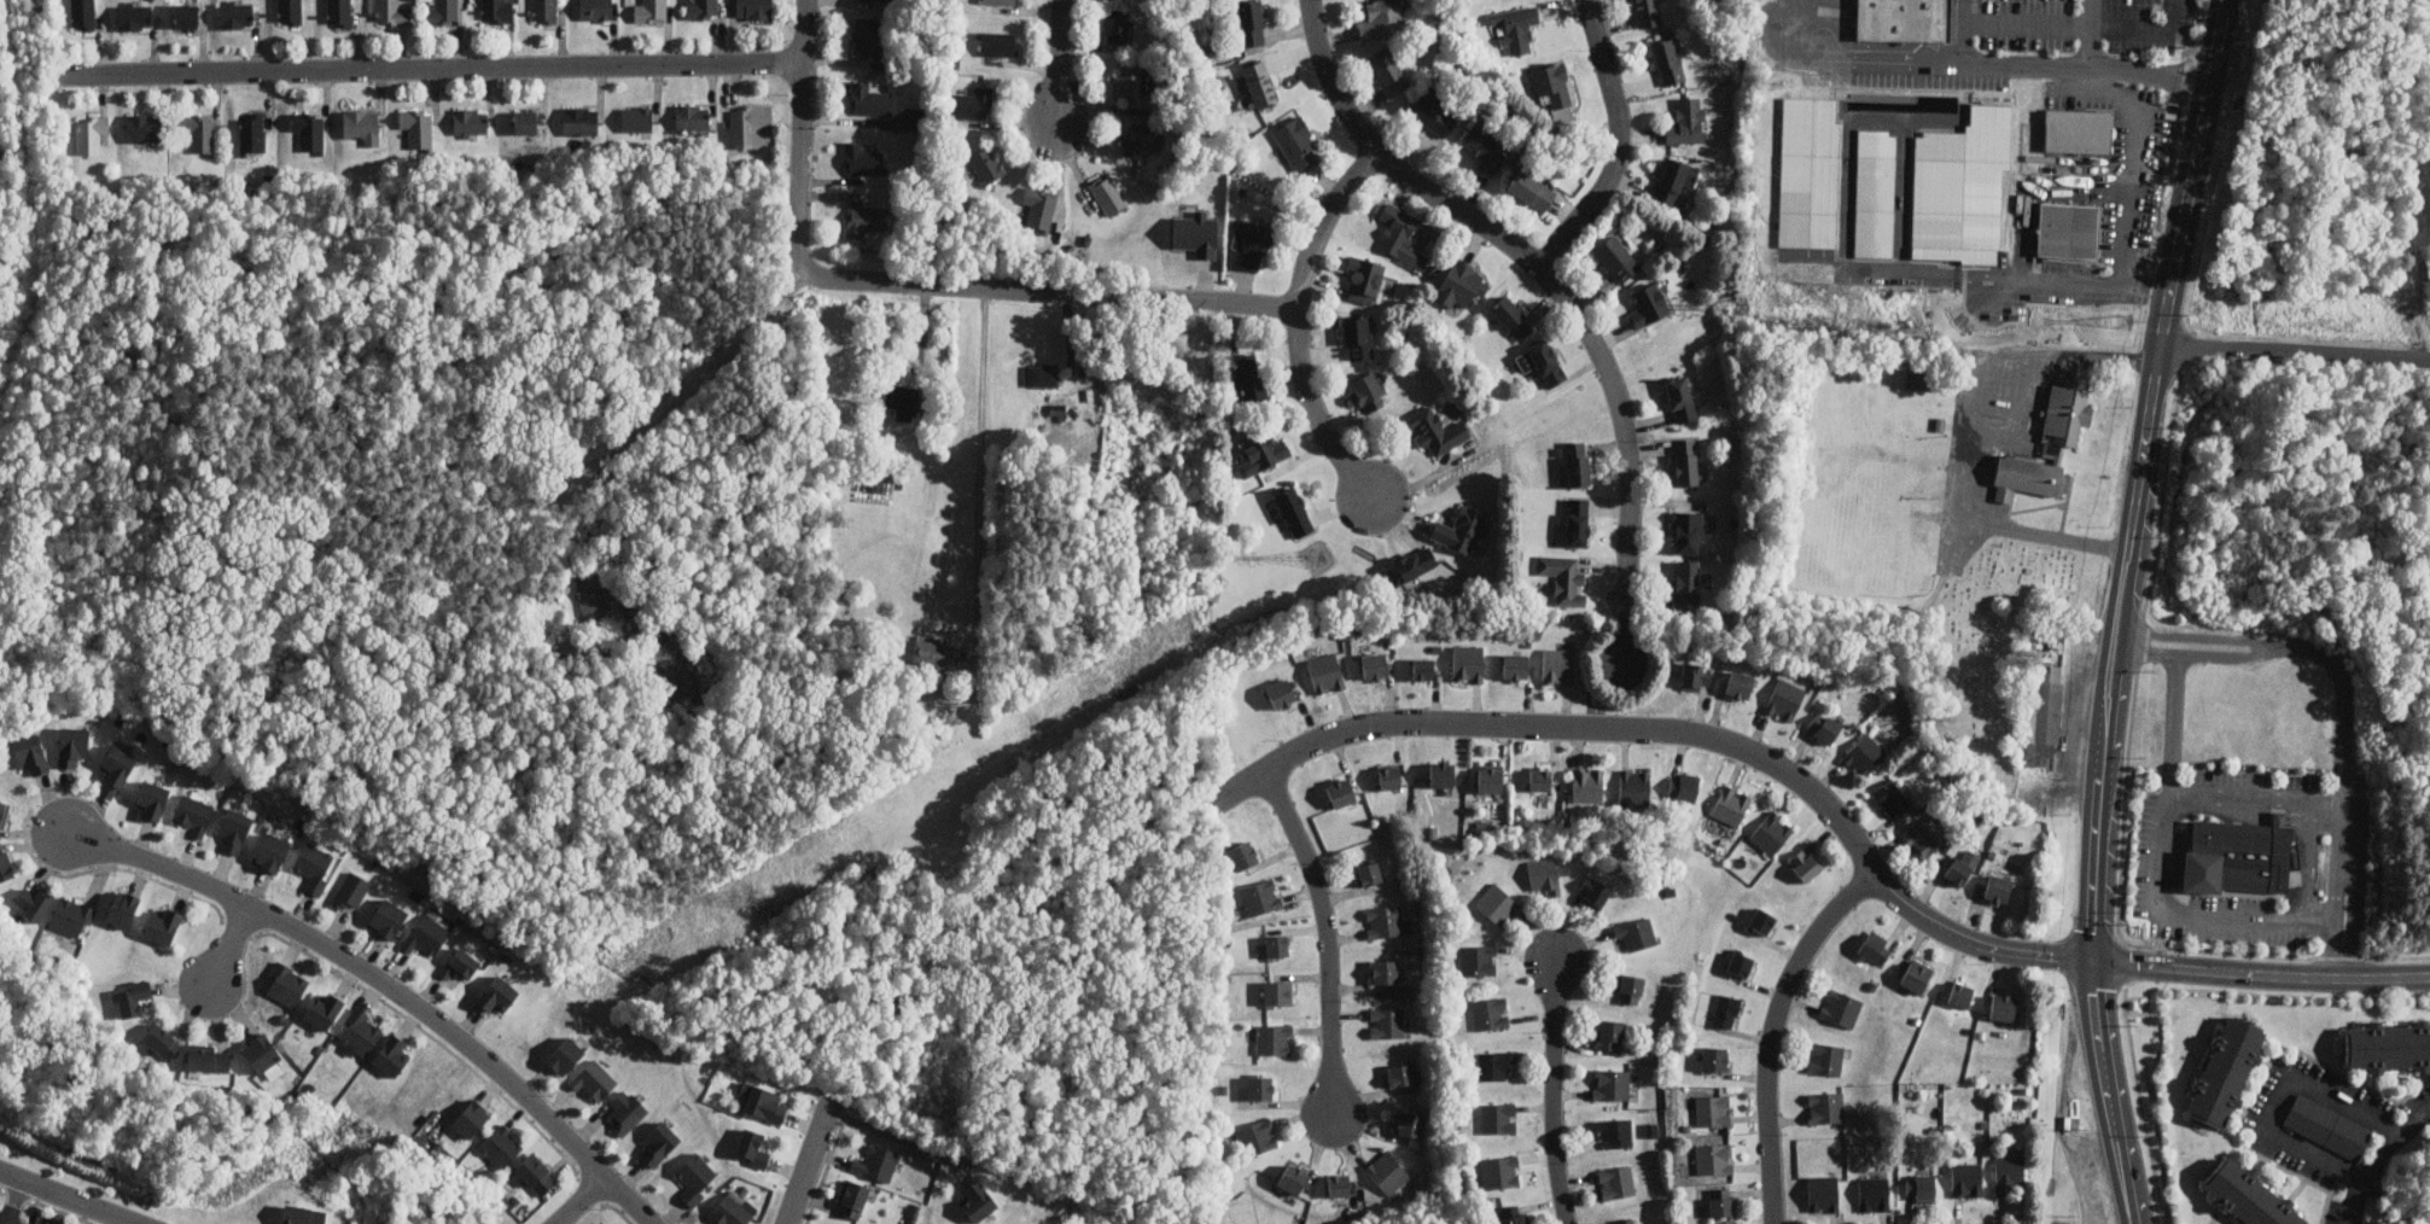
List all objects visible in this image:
building: (1002, 1)
building: (701, 8)
building: (754, 8)
building: (595, 10)
building: (649, 10)
building: (289, 11)
building: (496, 11)
building: (544, 11)
building: (338, 12)
building: (392, 12)
building: (445, 12)
building: (1649, 12)
building: (237, 13)
building: (82, 14)
building: (186, 14)
building: (134, 16)
building: (1382, 18)
building: (1905, 19)
building: (1249, 23)
road: (2080, 23)
building: (1117, 27)
building: (1517, 27)
building: (868, 36)
building: (998, 43)
road: (1849, 59)
road: (2022, 59)
road: (1057, 60)
building: (1668, 60)
road: (424, 68)
building: (1389, 71)
road: (2145, 76)
building: (1134, 80)
building: (1552, 83)
building: (1260, 84)
building: (869, 99)
building: (974, 104)
building: (1432, 115)
building: (636, 118)
building: (579, 120)
building: (692, 120)
building: (1688, 121)
building: (471, 122)
building: (524, 122)
building: (745, 122)
building: (362, 126)
building: (144, 127)
building: (416, 127)
building: (199, 130)
building: (309, 130)
building: (2079, 130)
building: (91, 133)
building: (251, 135)
building: (1143, 138)
building: (1296, 142)
road: (1616, 142)
building: (1487, 147)
building: (862, 161)
building: (986, 164)
building: (1811, 171)
road: (2135, 176)
building: (1674, 179)
building: (1963, 187)
building: (1531, 190)
building: (1877, 192)
building: (1108, 193)
building: (1039, 206)
building: (866, 220)
building: (2071, 229)
building: (1196, 233)
building: (1402, 235)
building: (1252, 244)
building: (1616, 257)
building: (1366, 279)
road: (916, 281)
building: (1462, 284)
road: (1554, 285)
building: (1649, 303)
power tower: (1743, 310)
road: (1299, 316)
building: (1511, 316)
power tower: (2126, 320)
building: (1358, 337)
road: (2297, 350)
building: (1540, 361)
building: (1042, 375)
building: (1249, 377)
building: (1923, 379)
building: (1368, 391)
building: (902, 397)
building: (1680, 398)
building: (1059, 410)
road: (658, 414)
building: (1437, 431)
road: (1975, 442)
building: (2046, 445)
building: (1263, 451)
building: (1685, 461)
building: (1577, 462)
road: (981, 474)
road: (2140, 480)
building: (1294, 511)
building: (1578, 521)
building: (1461, 529)
building: (1686, 531)
power tower: (1318, 561)
building: (1411, 565)
building: (1564, 577)
building: (1686, 583)
building: (595, 591)
road: (2128, 637)
road: (2143, 641)
building: (934, 651)
building: (1468, 663)
building: (1557, 665)
building: (1374, 666)
building: (1515, 666)
building: (1423, 668)
building: (1325, 674)
building: (1696, 676)
building: (684, 678)
building: (1740, 684)
building: (1281, 693)
building: (1785, 699)
building: (2045, 718)
building: (1824, 728)
road: (1672, 732)
road: (2344, 732)
building: (72, 744)
building: (30, 752)
building: (1865, 754)
building: (118, 763)
building: (1389, 775)
building: (1441, 776)
building: (1490, 777)
building: (1539, 777)
building: (1587, 783)
building: (1634, 787)
building: (1683, 787)
building: (1340, 792)
building: (1892, 797)
building: (152, 798)
road: (2239, 798)
building: (1731, 804)
building: (192, 814)
building: (4, 815)
building: (233, 829)
building: (1771, 833)
building: (1927, 837)
road: (2313, 843)
building: (273, 852)
building: (1242, 855)
building: (2238, 856)
building: (5, 864)
building: (1806, 864)
building: (314, 865)
building: (1958, 872)
building: (1370, 873)
road: (2160, 873)
building: (1545, 874)
road: (2349, 878)
building: (1998, 890)
building: (1595, 891)
building: (351, 892)
building: (1260, 896)
power tower: (748, 899)
building: (31, 902)
building: (1498, 903)
building: (123, 908)
building: (72, 916)
building: (387, 917)
building: (1385, 921)
building: (1760, 921)
building: (163, 925)
building: (1637, 932)
building: (427, 933)
road: (1325, 934)
road: (233, 945)
building: (1277, 945)
building: (1876, 948)
building: (1479, 960)
building: (460, 963)
building: (1740, 963)
road: (2344, 964)
traffic signals: (2091, 966)
building: (1386, 971)
road: (2260, 973)
building: (1918, 975)
building: (286, 983)
road: (391, 986)
building: (1631, 989)
building: (1277, 992)
building: (497, 995)
building: (1960, 995)
building: (133, 997)
building: (2003, 1007)
building: (1841, 1008)
building: (322, 1009)
building: (1726, 1012)
building: (1491, 1013)
building: (1388, 1022)
building: (360, 1031)
building: (1609, 1033)
road: (1775, 1033)
building: (1275, 1039)
building: (162, 1041)
building: (2387, 1045)
building: (261, 1051)
building: (394, 1054)
building: (565, 1055)
building: (1714, 1055)
building: (209, 1059)
building: (1825, 1059)
building: (1493, 1063)
building: (2225, 1071)
building: (1400, 1074)
building: (594, 1080)
building: (1612, 1084)
building: (1259, 1088)
road: (1556, 1091)
road: (2111, 1095)
road: (2275, 1096)
building: (762, 1102)
building: (1826, 1107)
building: (1713, 1109)
building: (627, 1111)
building: (471, 1117)
building: (1499, 1118)
building: (1410, 1124)
building: (2329, 1126)
building: (1615, 1131)
building: (1257, 1136)
road: (898, 1137)
building: (659, 1142)
building: (500, 1147)
building: (752, 1148)
building: (1714, 1158)
road: (2379, 1159)
building: (878, 1162)
road: (809, 1164)
building: (1388, 1172)
building: (1500, 1172)
building: (536, 1173)
building: (2007, 1173)
building: (695, 1178)
building: (1293, 1178)
building: (1966, 1179)
building: (1616, 1182)
building: (1338, 1185)
building: (1921, 1187)
building: (1823, 1193)
building: (1874, 1193)
road: (70, 1195)
building: (2248, 1195)
road: (10, 1197)
building: (853, 1199)
road: (581, 1200)
building: (977, 1200)
building: (1723, 1201)
building: (733, 1211)
building: (302, 1214)
building: (1513, 1214)
building: (1626, 1220)
road: (4, 1222)
road: (2064, 1222)
building: (601, 1223)

